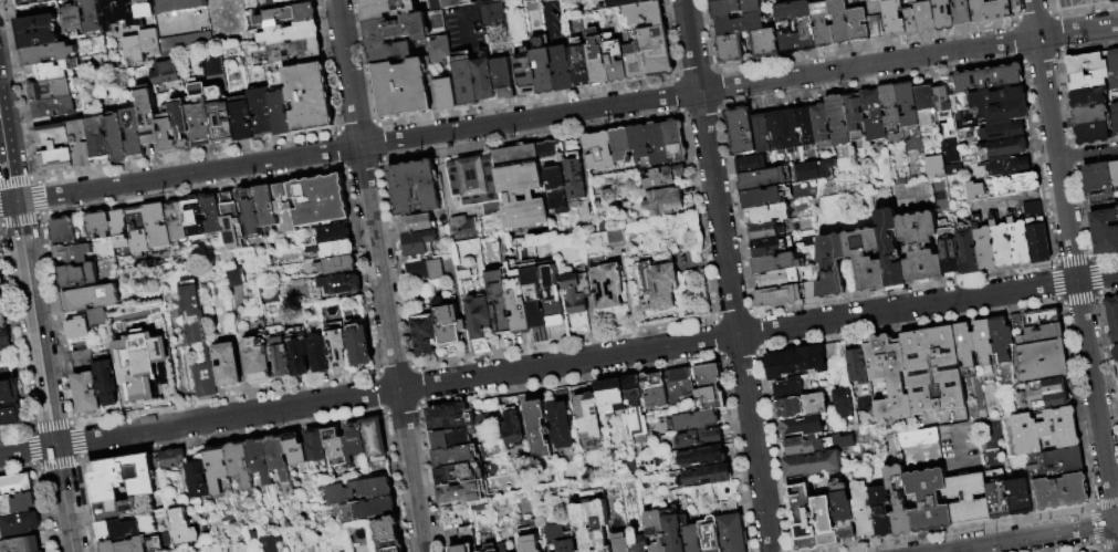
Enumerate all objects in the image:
building: (710, 0)
building: (285, 1)
parking lot: (988, 1)
building: (1094, 1)
building: (1112, 1)
building: (624, 2)
building: (265, 3)
building: (448, 3)
building: (853, 3)
building: (908, 3)
parking lot: (1068, 3)
building: (178, 6)
building: (35, 8)
building: (386, 8)
building: (732, 8)
building: (143, 9)
building: (988, 10)
road: (466, 11)
building: (960, 12)
building: (115, 13)
building: (644, 13)
building: (492, 14)
building: (288, 15)
building: (941, 15)
building: (90, 17)
building: (238, 17)
building: (72, 18)
building: (923, 18)
road: (1035, 18)
building: (892, 19)
building: (838, 21)
building: (908, 21)
building: (819, 23)
building: (736, 24)
building: (856, 24)
building: (803, 25)
building: (874, 27)
building: (395, 29)
building: (785, 29)
building: (36, 31)
building: (289, 33)
building: (148, 42)
building: (763, 43)
building: (728, 49)
building: (130, 50)
building: (294, 50)
building: (438, 50)
building: (389, 52)
building: (46, 54)
building: (648, 54)
building: (596, 58)
building: (614, 59)
building: (579, 63)
building: (1086, 65)
building: (541, 66)
building: (1115, 69)
building: (54, 70)
building: (561, 70)
building: (163, 72)
building: (523, 72)
building: (482, 77)
building: (501, 77)
building: (985, 79)
building: (463, 80)
building: (1090, 82)
building: (404, 87)
building: (48, 90)
building: (445, 93)
building: (307, 97)
building: (941, 97)
building: (996, 97)
building: (1089, 100)
building: (907, 105)
building: (924, 105)
building: (890, 106)
building: (52, 107)
building: (260, 113)
road: (558, 113)
building: (1004, 113)
building: (280, 114)
building: (198, 115)
building: (873, 115)
building: (146, 116)
building: (219, 116)
building: (1091, 117)
building: (241, 118)
building: (1115, 118)
building: (837, 119)
building: (945, 119)
building: (855, 122)
building: (42, 123)
building: (821, 124)
building: (180, 125)
building: (806, 125)
building: (783, 129)
building: (166, 131)
building: (740, 131)
building: (760, 132)
building: (1000, 132)
building: (132, 134)
building: (1095, 135)
building: (115, 138)
building: (97, 139)
building: (666, 142)
building: (637, 143)
building: (80, 145)
building: (619, 145)
building: (1006, 147)
building: (53, 148)
building: (545, 148)
building: (597, 150)
road: (1087, 153)
building: (933, 166)
building: (1009, 167)
building: (814, 170)
building: (759, 173)
building: (1115, 174)
building: (662, 176)
building: (573, 177)
building: (473, 180)
building: (1099, 180)
building: (1015, 184)
building: (519, 186)
building: (414, 187)
building: (555, 190)
building: (974, 190)
building: (764, 196)
building: (318, 200)
building: (660, 202)
building: (1104, 204)
building: (265, 206)
building: (283, 208)
building: (1117, 211)
building: (248, 212)
building: (769, 213)
building: (209, 215)
building: (191, 217)
building: (175, 220)
building: (230, 221)
building: (416, 222)
building: (96, 226)
building: (155, 226)
building: (459, 228)
building: (118, 229)
building: (136, 231)
building: (764, 231)
building: (1036, 232)
building: (1106, 232)
building: (331, 233)
building: (614, 238)
building: (1018, 241)
building: (67, 242)
building: (418, 242)
building: (1002, 244)
building: (770, 246)
building: (948, 247)
building: (984, 247)
building: (920, 248)
building: (967, 248)
building: (331, 249)
building: (889, 250)
building: (776, 262)
building: (336, 265)
building: (435, 270)
building: (868, 272)
building: (77, 275)
road: (380, 275)
road: (729, 275)
building: (233, 277)
building: (779, 278)
road: (1076, 280)
building: (655, 281)
building: (0, 283)
building: (338, 284)
building: (605, 284)
building: (576, 290)
building: (550, 294)
building: (784, 295)
building: (88, 298)
building: (534, 298)
building: (1, 299)
building: (498, 300)
building: (516, 302)
building: (477, 317)
building: (2, 319)
building: (1034, 319)
building: (446, 320)
building: (1112, 321)
road: (35, 327)
building: (77, 331)
building: (424, 333)
building: (1041, 334)
building: (197, 336)
building: (4, 339)
building: (1000, 339)
building: (982, 342)
building: (335, 345)
building: (358, 345)
building: (963, 345)
building: (318, 354)
building: (1116, 355)
building: (297, 356)
building: (255, 357)
building: (279, 357)
building: (798, 360)
building: (1042, 361)
building: (139, 363)
road: (558, 363)
building: (224, 364)
building: (1117, 365)
building: (855, 366)
building: (931, 369)
building: (1117, 372)
building: (887, 376)
building: (106, 383)
building: (678, 384)
building: (708, 387)
building: (788, 388)
building: (652, 389)
building: (85, 394)
building: (1046, 394)
building: (609, 396)
building: (9, 403)
building: (842, 403)
building: (633, 405)
building: (800, 406)
building: (586, 416)
building: (450, 417)
building: (692, 420)
building: (558, 425)
building: (801, 426)
building: (511, 429)
building: (536, 430)
building: (1044, 433)
building: (450, 438)
building: (697, 438)
building: (954, 439)
building: (372, 440)
building: (840, 442)
building: (352, 444)
building: (919, 444)
building: (313, 446)
building: (802, 446)
building: (333, 447)
building: (293, 449)
building: (275, 457)
building: (452, 457)
building: (697, 457)
building: (170, 459)
building: (258, 460)
building: (238, 464)
building: (811, 464)
building: (1058, 464)
building: (216, 467)
building: (452, 475)
building: (704, 476)
building: (121, 478)
building: (196, 479)
building: (1032, 480)
building: (15, 485)
building: (356, 491)
building: (459, 492)
building: (1059, 493)
building: (995, 496)
building: (1018, 498)
building: (967, 500)
building: (897, 502)
building: (927, 502)
building: (18, 503)
building: (122, 509)
building: (861, 509)
building: (367, 510)
building: (879, 512)
building: (842, 515)
building: (800, 518)
building: (591, 522)
road: (1117, 522)
building: (823, 523)
building: (19, 524)
building: (181, 527)
building: (125, 529)
building: (654, 530)
road: (1117, 530)
building: (672, 533)
building: (386, 534)
building: (709, 534)
building: (731, 534)
building: (689, 535)
road: (1027, 538)
building: (464, 540)
building: (636, 541)
building: (269, 542)
building: (618, 542)
building: (529, 543)
building: (20, 544)
building: (123, 545)
building: (565, 546)
building: (501, 548)
building: (488, 549)
building: (43, 551)

